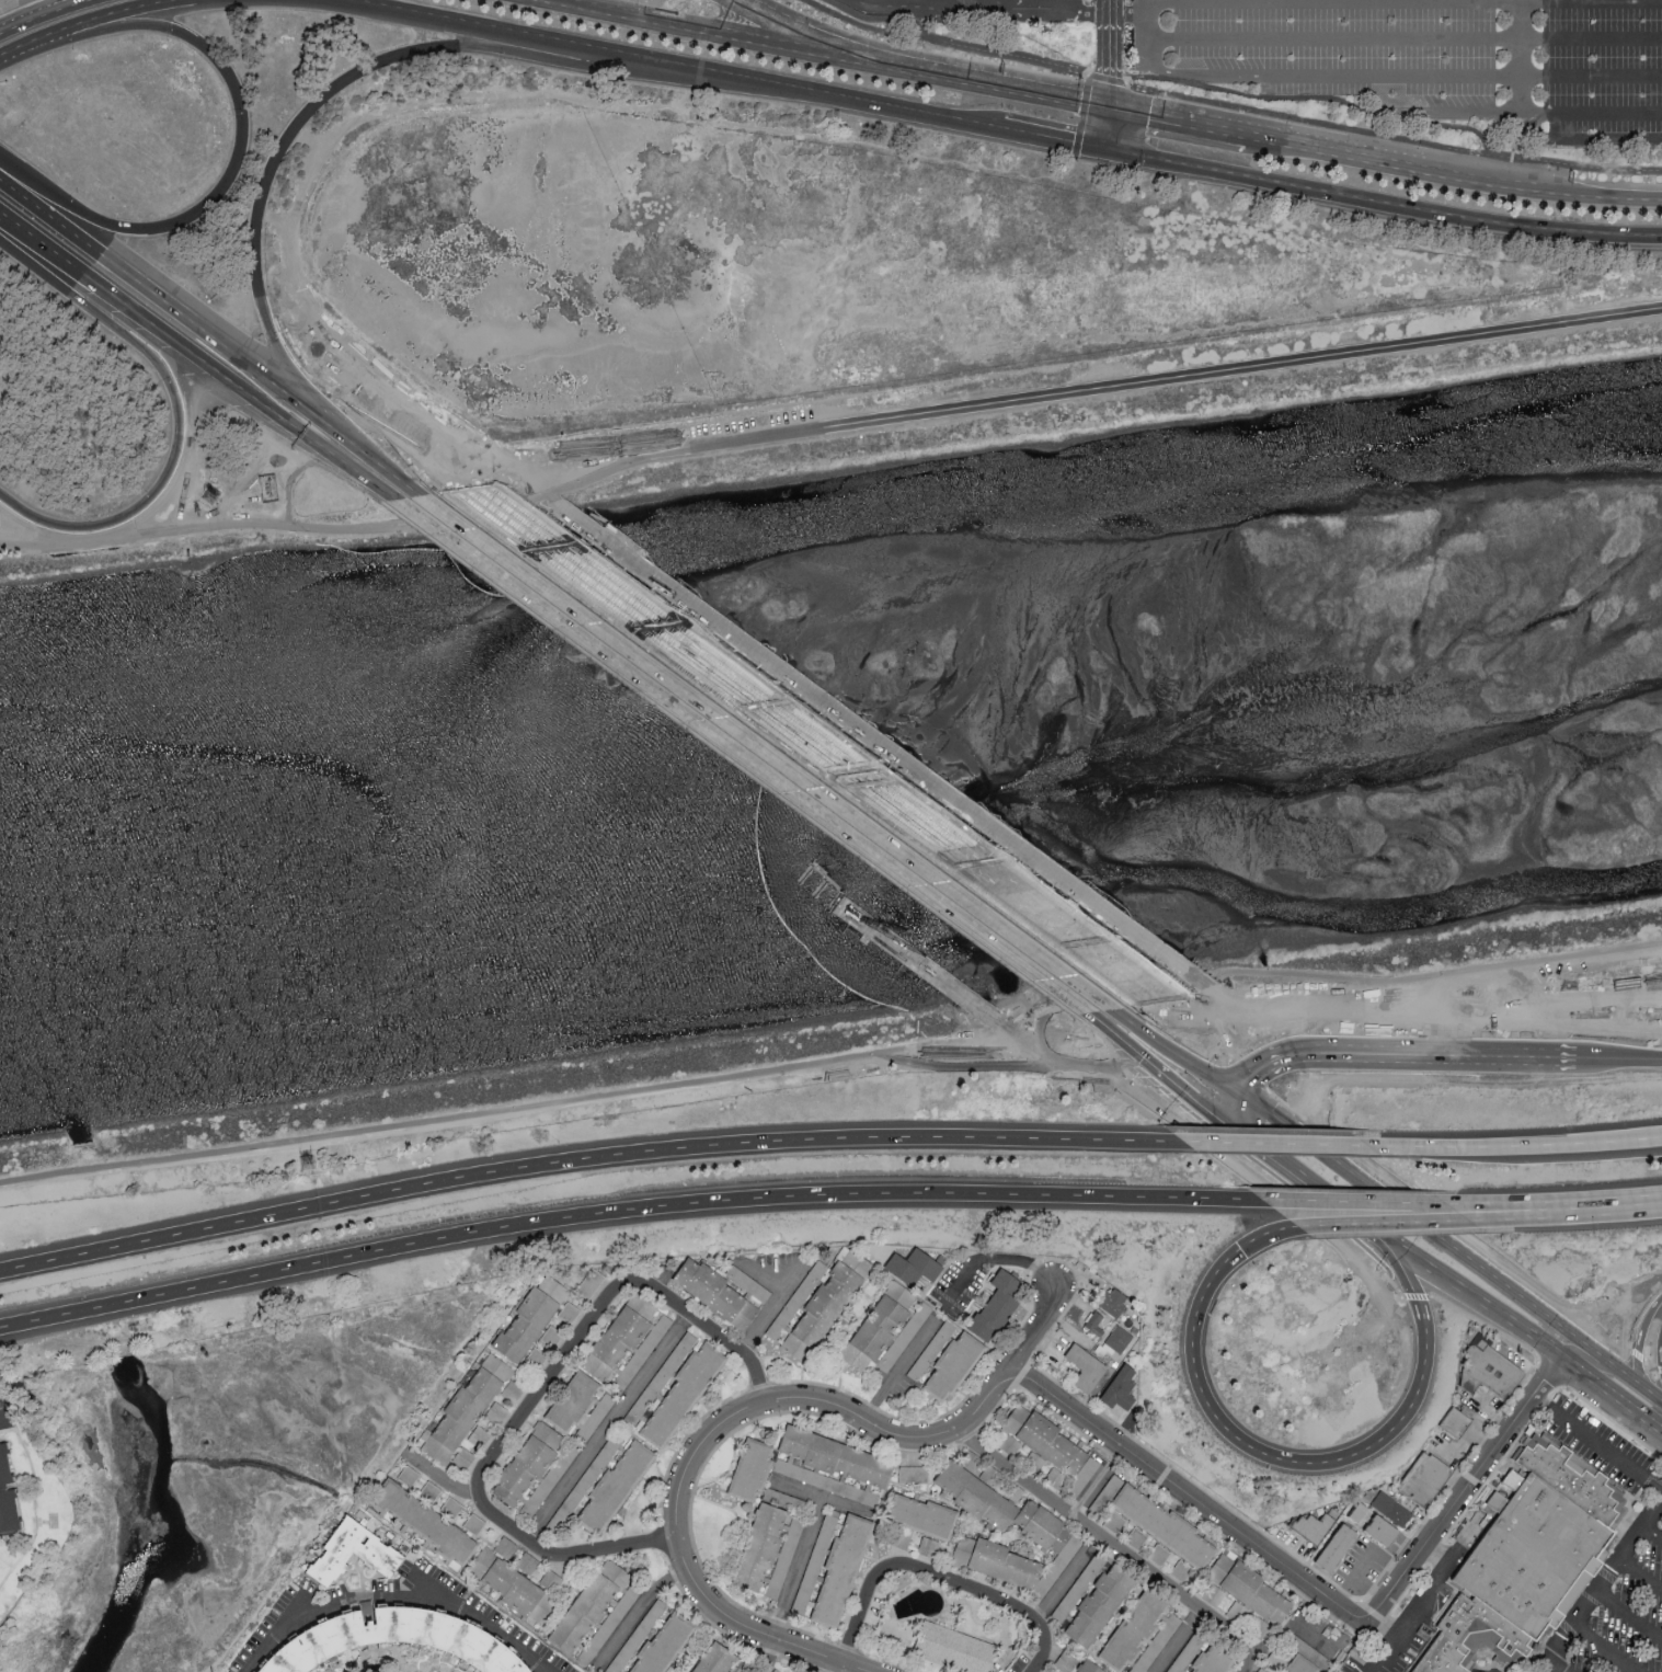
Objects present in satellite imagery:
road: (1339, 1)
road: (982, 5)
road: (1077, 7)
road: (121, 11)
road: (41, 13)
road: (1130, 15)
road: (881, 18)
road: (864, 26)
road: (804, 30)
road: (713, 31)
road: (1407, 39)
road: (32, 44)
road: (1108, 50)
road: (1009, 55)
parking lot: (1395, 55)
road: (1525, 57)
road: (678, 66)
road: (352, 79)
road: (986, 79)
road: (1105, 79)
road: (1373, 79)
road: (1311, 99)
traffic signals: (1108, 103)
road: (1508, 113)
road: (1081, 115)
road: (1178, 115)
road: (1302, 119)
road: (1104, 125)
road: (1051, 137)
road: (1585, 142)
traffic signals: (1102, 147)
road: (1336, 147)
road: (1571, 163)
road: (237, 164)
road: (1494, 179)
road: (1613, 194)
road: (1380, 204)
road: (44, 252)
road: (181, 313)
road: (1122, 386)
road: (244, 392)
road: (333, 400)
road: (423, 420)
road: (426, 462)
road: (176, 465)
road: (537, 482)
power substation: (266, 486)
power tower: (213, 500)
river: (828, 520)
road: (324, 526)
road: (763, 748)
road: (830, 751)
road: (1220, 1017)
road: (1400, 1057)
road: (833, 1062)
road: (1600, 1062)
road: (1642, 1062)
road: (1056, 1064)
road: (1234, 1066)
road: (1168, 1067)
road: (1248, 1074)
traffic signals: (1248, 1083)
road: (1233, 1107)
traffic signals: (1225, 1120)
road: (1315, 1141)
road: (1288, 1147)
road: (1529, 1147)
road: (585, 1161)
power tower: (308, 1163)
road: (1315, 1189)
road: (1369, 1202)
road: (1629, 1202)
road: (1536, 1204)
road: (626, 1211)
road: (1543, 1212)
road: (1443, 1222)
road: (1395, 1226)
road: (1270, 1236)
road: (1458, 1248)
road: (999, 1258)
building: (912, 1266)
road: (1413, 1279)
building: (589, 1282)
building: (746, 1282)
building: (550, 1285)
building: (714, 1293)
road: (773, 1301)
building: (1112, 1301)
building: (816, 1302)
building: (994, 1305)
road: (1481, 1307)
building: (568, 1312)
building: (1093, 1322)
building: (523, 1324)
building: (885, 1328)
road: (1638, 1335)
building: (1116, 1337)
building: (626, 1340)
road: (1589, 1345)
road: (1567, 1347)
road: (1635, 1350)
building: (942, 1361)
road: (1649, 1361)
building: (1084, 1366)
road: (1011, 1370)
road: (897, 1371)
road: (1658, 1371)
road: (1632, 1377)
road: (1544, 1378)
building: (1119, 1386)
building: (672, 1388)
road: (1611, 1395)
road: (540, 1400)
building: (571, 1400)
building: (463, 1406)
building: (494, 1411)
building: (594, 1416)
building: (1468, 1420)
road: (605, 1425)
building: (477, 1434)
building: (1039, 1438)
road: (1595, 1445)
building: (462, 1456)
building: (967, 1458)
road: (1276, 1459)
building: (830, 1464)
building: (531, 1469)
building: (748, 1469)
building: (988, 1471)
park: (226, 1473)
building: (913, 1473)
building: (1081, 1474)
building: (406, 1475)
road: (686, 1475)
building: (614, 1487)
building: (575, 1490)
building: (428, 1491)
building: (1015, 1492)
building: (5, 1493)
building: (782, 1499)
road: (1185, 1500)
road: (843, 1505)
building: (449, 1507)
building: (1389, 1508)
road: (1445, 1513)
building: (1359, 1514)
building: (919, 1515)
building: (1146, 1519)
building: (423, 1521)
building: (472, 1523)
building: (1310, 1525)
building: (1379, 1530)
building: (1047, 1531)
road: (1651, 1534)
building: (1135, 1537)
building: (901, 1539)
road: (803, 1543)
building: (927, 1546)
road: (1111, 1546)
building: (505, 1547)
building: (1333, 1547)
building: (766, 1549)
building: (374, 1554)
building: (813, 1560)
building: (1531, 1561)
building: (526, 1562)
road: (1364, 1569)
building: (839, 1570)
road: (1064, 1577)
building: (549, 1579)
road: (1638, 1579)
road: (939, 1581)
building: (898, 1582)
road: (1600, 1582)
building: (509, 1585)
building: (1242, 1588)
road: (274, 1592)
road: (391, 1599)
building: (1091, 1599)
road: (1413, 1604)
road: (638, 1610)
building: (594, 1612)
road: (1627, 1616)
building: (1248, 1619)
building: (1131, 1630)
building: (635, 1636)
building: (391, 1639)
road: (1174, 1640)
building: (662, 1644)
building: (952, 1648)
road: (1601, 1649)
building: (1185, 1652)
road: (768, 1656)
building: (712, 1658)
road: (385, 1659)
park: (389, 1659)
building: (1211, 1660)
building: (1065, 1661)
building: (1302, 1661)
building: (1087, 1667)
road: (1556, 1667)
building: (743, 1668)
road: (841, 1669)
building: (772, 1670)

